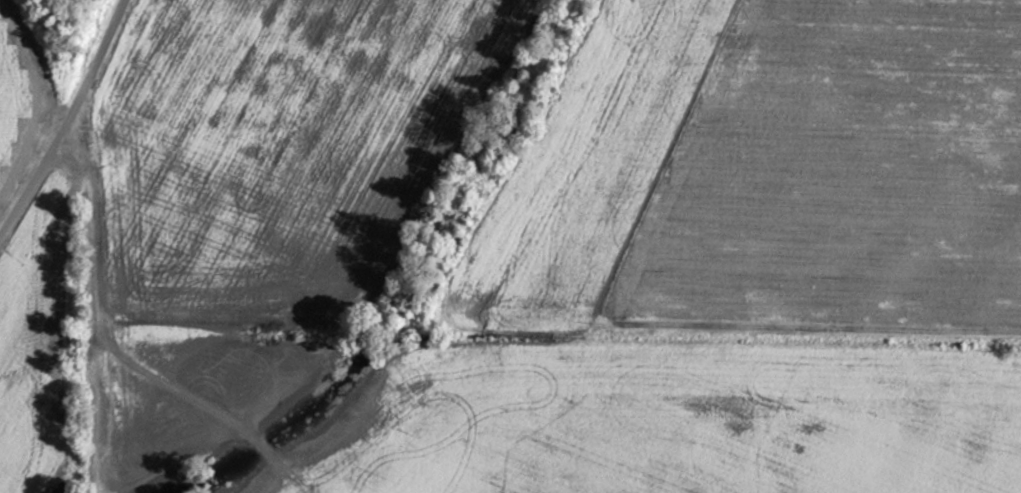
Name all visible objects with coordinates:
road: (66, 121)

